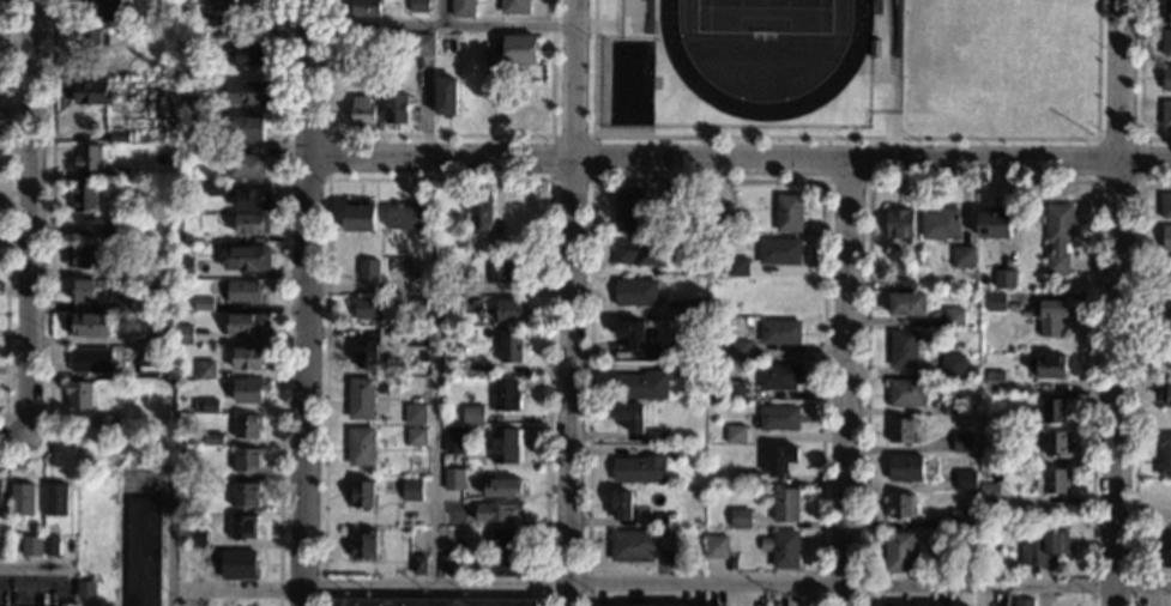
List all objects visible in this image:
building: (219, 5)
building: (417, 6)
building: (366, 7)
building: (514, 7)
building: (461, 8)
building: (105, 10)
building: (1167, 10)
road: (441, 14)
park: (766, 14)
building: (183, 16)
building: (621, 16)
road: (440, 29)
building: (91, 40)
building: (1166, 43)
building: (421, 44)
building: (376, 46)
building: (519, 50)
building: (246, 55)
park: (986, 62)
building: (493, 72)
building: (1166, 78)
road: (1139, 84)
building: (247, 92)
building: (91, 93)
building: (470, 96)
building: (445, 97)
building: (188, 103)
building: (396, 108)
building: (362, 110)
track: (761, 110)
building: (880, 110)
building: (1166, 114)
building: (248, 128)
road: (437, 134)
road: (845, 135)
building: (117, 137)
building: (201, 156)
building: (87, 158)
road: (741, 162)
building: (247, 166)
building: (119, 174)
road: (326, 177)
road: (436, 177)
road: (823, 178)
road: (591, 180)
road: (706, 180)
road: (980, 180)
road: (1095, 180)
building: (216, 189)
building: (86, 196)
building: (253, 199)
building: (1165, 206)
road: (5, 208)
building: (481, 210)
building: (632, 211)
building: (789, 213)
building: (724, 216)
building: (405, 217)
building: (356, 219)
road: (28, 220)
building: (251, 223)
building: (899, 223)
building: (940, 224)
building: (988, 224)
building: (117, 230)
building: (1057, 237)
building: (1166, 238)
building: (177, 242)
road: (50, 249)
building: (639, 252)
building: (779, 252)
building: (85, 256)
building: (962, 256)
building: (246, 257)
building: (1010, 261)
building: (695, 265)
building: (344, 266)
building: (366, 266)
building: (182, 267)
building: (737, 267)
building: (496, 273)
building: (131, 274)
building: (1166, 275)
building: (1004, 278)
building: (905, 284)
building: (92, 290)
building: (635, 291)
building: (243, 292)
road: (440, 292)
building: (153, 299)
building: (995, 301)
road: (571, 302)
road: (1117, 302)
road: (280, 303)
road: (307, 303)
building: (204, 304)
building: (907, 304)
building: (693, 307)
building: (367, 308)
building: (416, 309)
building: (508, 310)
building: (1169, 316)
building: (953, 317)
building: (1051, 317)
building: (86, 323)
building: (161, 323)
building: (248, 325)
building: (780, 331)
building: (630, 333)
building: (182, 334)
building: (416, 337)
building: (511, 347)
building: (903, 349)
building: (738, 350)
building: (659, 352)
building: (369, 354)
building: (1167, 354)
building: (251, 357)
building: (424, 357)
building: (91, 360)
building: (953, 365)
building: (149, 366)
building: (1046, 366)
building: (453, 368)
building: (204, 369)
building: (682, 369)
building: (778, 376)
road: (1135, 376)
building: (994, 380)
road: (847, 383)
building: (640, 386)
building: (98, 388)
building: (249, 390)
building: (732, 390)
building: (906, 393)
building: (1166, 394)
building: (79, 395)
building: (505, 395)
building: (180, 399)
building: (360, 399)
building: (205, 405)
building: (952, 406)
building: (984, 408)
building: (1050, 411)
building: (414, 414)
building: (472, 416)
building: (629, 416)
building: (779, 418)
building: (110, 424)
building: (246, 426)
building: (903, 430)
building: (735, 434)
building: (379, 435)
road: (4, 436)
building: (658, 436)
building: (416, 437)
building: (197, 438)
road: (437, 438)
building: (212, 440)
road: (12, 441)
building: (454, 441)
building: (962, 443)
building: (1056, 443)
building: (506, 446)
building: (361, 447)
building: (180, 450)
building: (681, 452)
building: (1164, 454)
building: (998, 455)
building: (781, 459)
building: (247, 460)
building: (181, 467)
building: (639, 468)
building: (905, 468)
building: (750, 477)
building: (453, 479)
building: (965, 480)
building: (1051, 480)
building: (502, 487)
building: (411, 490)
building: (243, 493)
building: (362, 493)
building: (989, 493)
building: (23, 499)
building: (56, 499)
building: (0, 501)
building: (621, 504)
building: (186, 505)
building: (785, 505)
building: (901, 505)
building: (499, 513)
building: (453, 516)
building: (740, 519)
building: (658, 520)
building: (960, 520)
road: (169, 522)
building: (241, 527)
building: (197, 537)
building: (506, 540)
road: (120, 544)
building: (639, 544)
building: (52, 545)
building: (362, 545)
building: (31, 546)
building: (716, 546)
building: (1042, 546)
building: (465, 549)
building: (783, 549)
building: (72, 550)
building: (143, 551)
building: (1165, 551)
building: (899, 552)
road: (163, 558)
building: (237, 564)
building: (418, 565)
building: (449, 565)
building: (506, 565)
road: (30, 569)
road: (737, 583)
building: (85, 589)
road: (236, 592)
road: (1001, 595)
building: (427, 601)
building: (254, 602)
building: (1024, 602)
building: (216, 605)
building: (657, 605)

